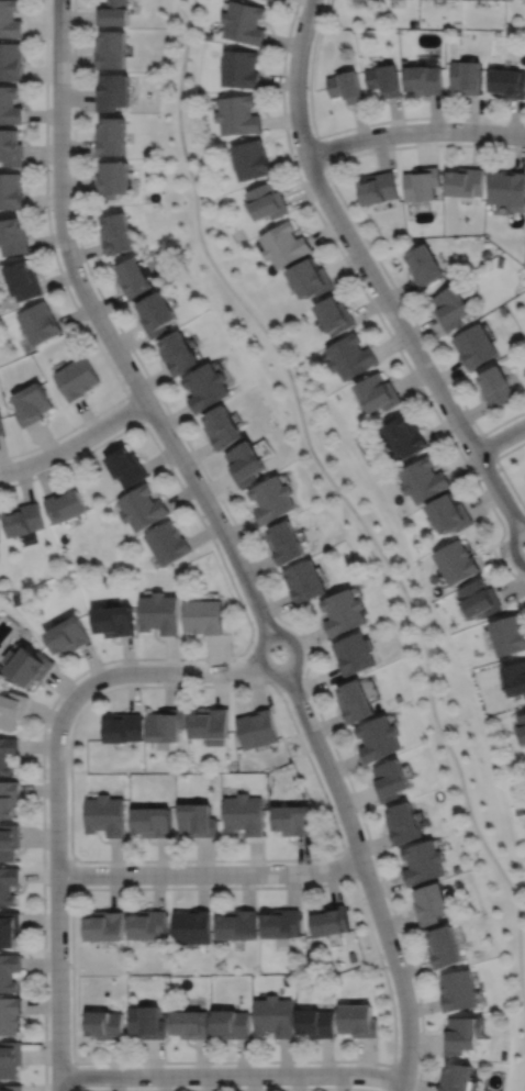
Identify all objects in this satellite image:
building: (113, 12)
street lamp: (298, 12)
building: (11, 19)
building: (245, 22)
street lamp: (70, 30)
building: (112, 49)
building: (12, 60)
building: (242, 68)
building: (469, 76)
building: (386, 79)
building: (425, 79)
building: (510, 82)
building: (347, 86)
building: (113, 91)
building: (11, 104)
building: (239, 115)
road: (350, 127)
road: (414, 132)
street lamp: (314, 133)
building: (111, 136)
street lamp: (394, 145)
building: (12, 147)
road: (320, 151)
building: (253, 159)
street lamp: (47, 167)
building: (113, 179)
building: (468, 182)
building: (423, 185)
building: (507, 188)
building: (380, 189)
building: (12, 190)
building: (269, 202)
building: (118, 235)
road: (361, 235)
building: (14, 237)
street lamp: (337, 240)
building: (286, 245)
road: (364, 263)
building: (426, 266)
street lamp: (86, 272)
road: (60, 277)
building: (134, 279)
building: (312, 279)
building: (24, 281)
road: (370, 302)
building: (454, 308)
building: (503, 311)
building: (157, 315)
building: (336, 316)
building: (38, 323)
road: (105, 333)
building: (476, 346)
street lamp: (404, 352)
building: (178, 355)
building: (353, 358)
building: (77, 379)
building: (206, 388)
building: (496, 388)
street lamp: (127, 390)
building: (380, 394)
building: (33, 405)
road: (134, 410)
building: (2, 425)
building: (223, 430)
street lamp: (476, 430)
street lamp: (75, 431)
building: (409, 438)
road: (500, 438)
road: (75, 443)
road: (488, 446)
building: (246, 465)
road: (501, 468)
building: (126, 469)
street lamp: (200, 470)
building: (426, 481)
building: (272, 499)
road: (346, 501)
building: (64, 502)
building: (142, 506)
park: (348, 513)
building: (451, 513)
road: (515, 513)
building: (22, 516)
road: (512, 538)
building: (287, 539)
building: (167, 541)
road: (246, 545)
building: (458, 559)
street lamp: (507, 561)
building: (188, 567)
street lamp: (256, 578)
building: (305, 578)
building: (481, 595)
building: (16, 599)
building: (345, 610)
building: (159, 611)
building: (203, 614)
building: (114, 619)
building: (509, 632)
building: (68, 633)
building: (355, 653)
road: (152, 658)
road: (297, 661)
building: (26, 663)
street lamp: (103, 665)
road: (161, 671)
building: (515, 676)
street lamp: (228, 680)
street lamp: (309, 698)
building: (357, 700)
building: (11, 708)
building: (165, 723)
building: (210, 724)
building: (522, 725)
building: (123, 726)
building: (257, 727)
road: (299, 735)
building: (380, 736)
building: (7, 753)
street lamp: (46, 778)
building: (392, 779)
building: (9, 798)
building: (244, 813)
street lamp: (358, 813)
building: (104, 815)
building: (197, 819)
building: (293, 819)
building: (152, 821)
building: (405, 822)
building: (9, 840)
street lamp: (267, 861)
building: (425, 861)
street lamp: (130, 862)
road: (348, 864)
road: (70, 870)
road: (210, 872)
road: (367, 877)
building: (8, 884)
road: (57, 892)
building: (433, 903)
street lamp: (46, 906)
road: (362, 906)
building: (331, 920)
building: (147, 924)
building: (282, 924)
building: (104, 925)
building: (237, 925)
building: (191, 926)
building: (9, 928)
building: (447, 947)
building: (351, 957)
street lamp: (382, 958)
building: (9, 971)
building: (459, 990)
building: (9, 1016)
building: (275, 1016)
building: (359, 1021)
building: (146, 1023)
building: (317, 1023)
building: (190, 1024)
building: (232, 1024)
building: (104, 1025)
building: (463, 1035)
street lamp: (418, 1056)
street lamp: (69, 1058)
building: (10, 1059)
street lamp: (337, 1062)
street lamp: (212, 1065)
road: (231, 1073)
road: (72, 1077)
road: (390, 1077)
building: (459, 1078)
building: (12, 1088)
road: (228, 1088)

